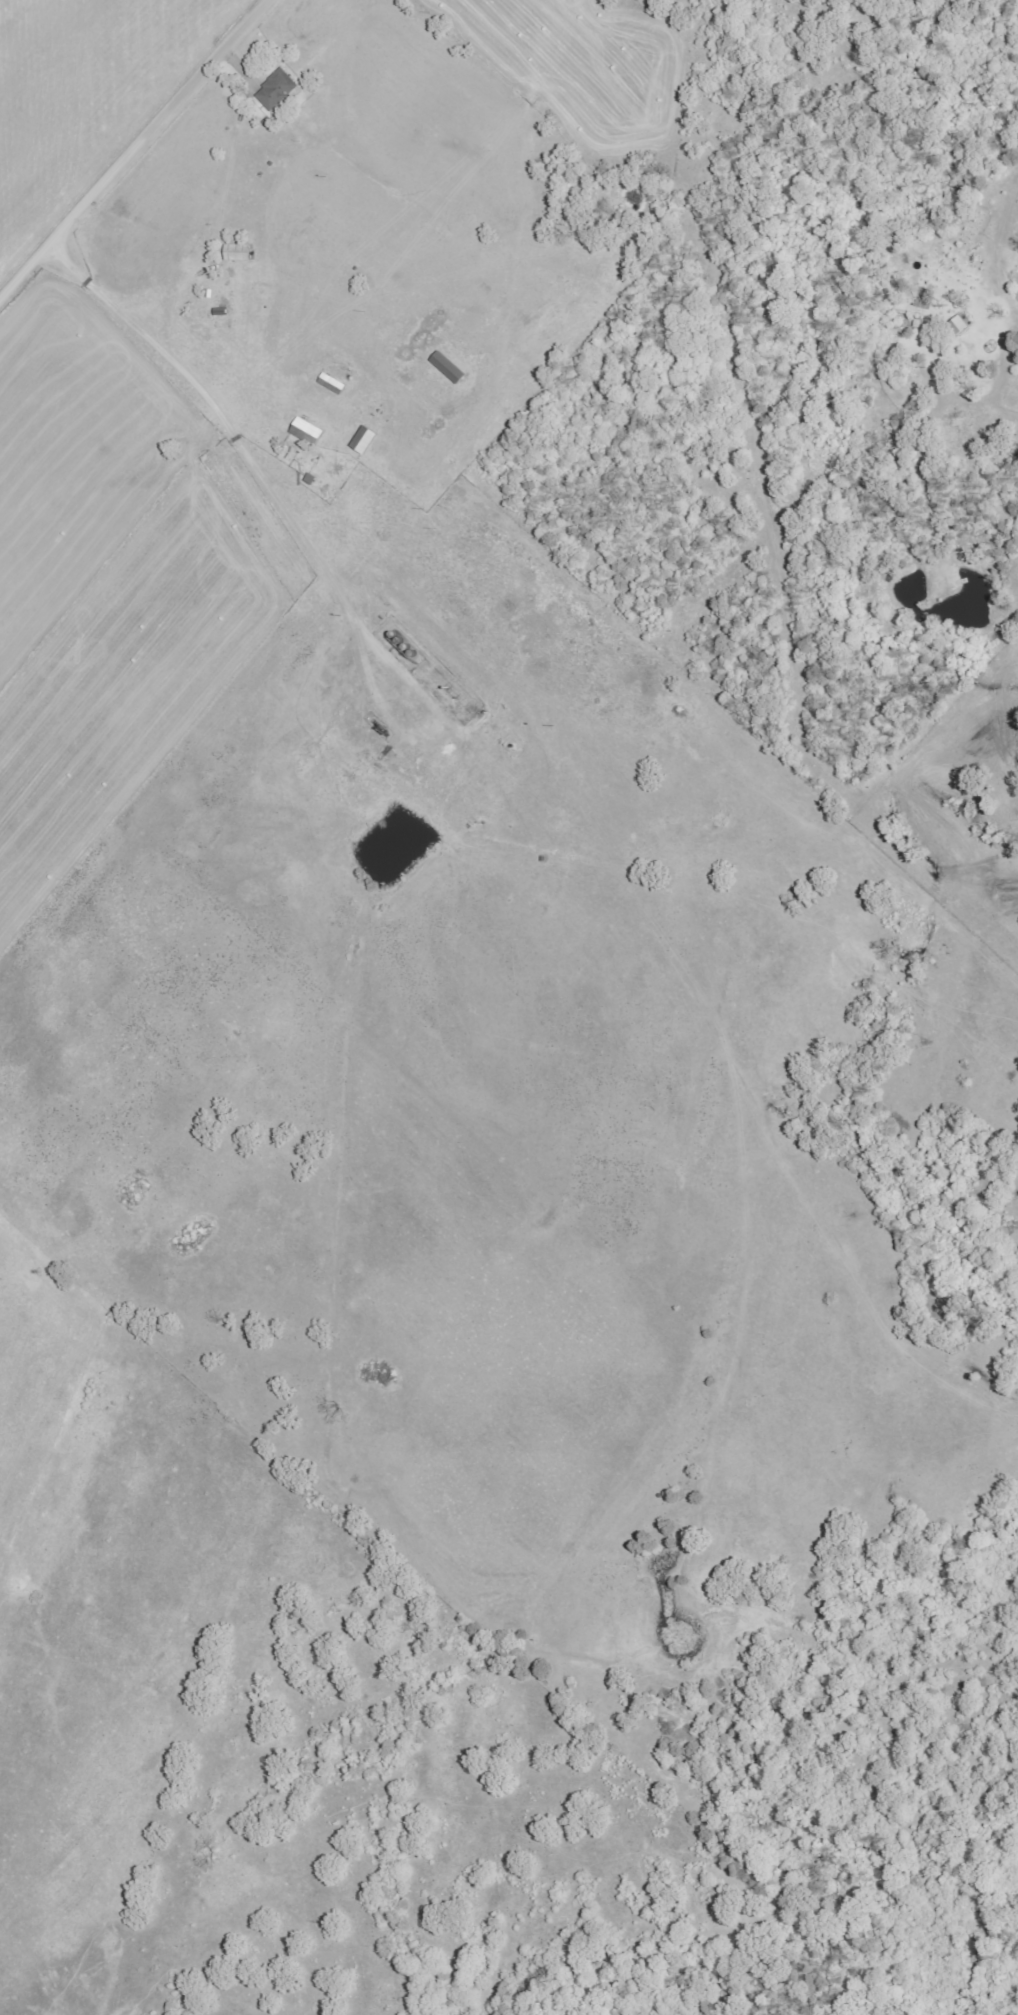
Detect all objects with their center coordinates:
building: (279, 90)
road: (129, 144)
building: (241, 253)
building: (960, 327)
building: (451, 368)
building: (335, 385)
building: (310, 433)
building: (367, 441)

